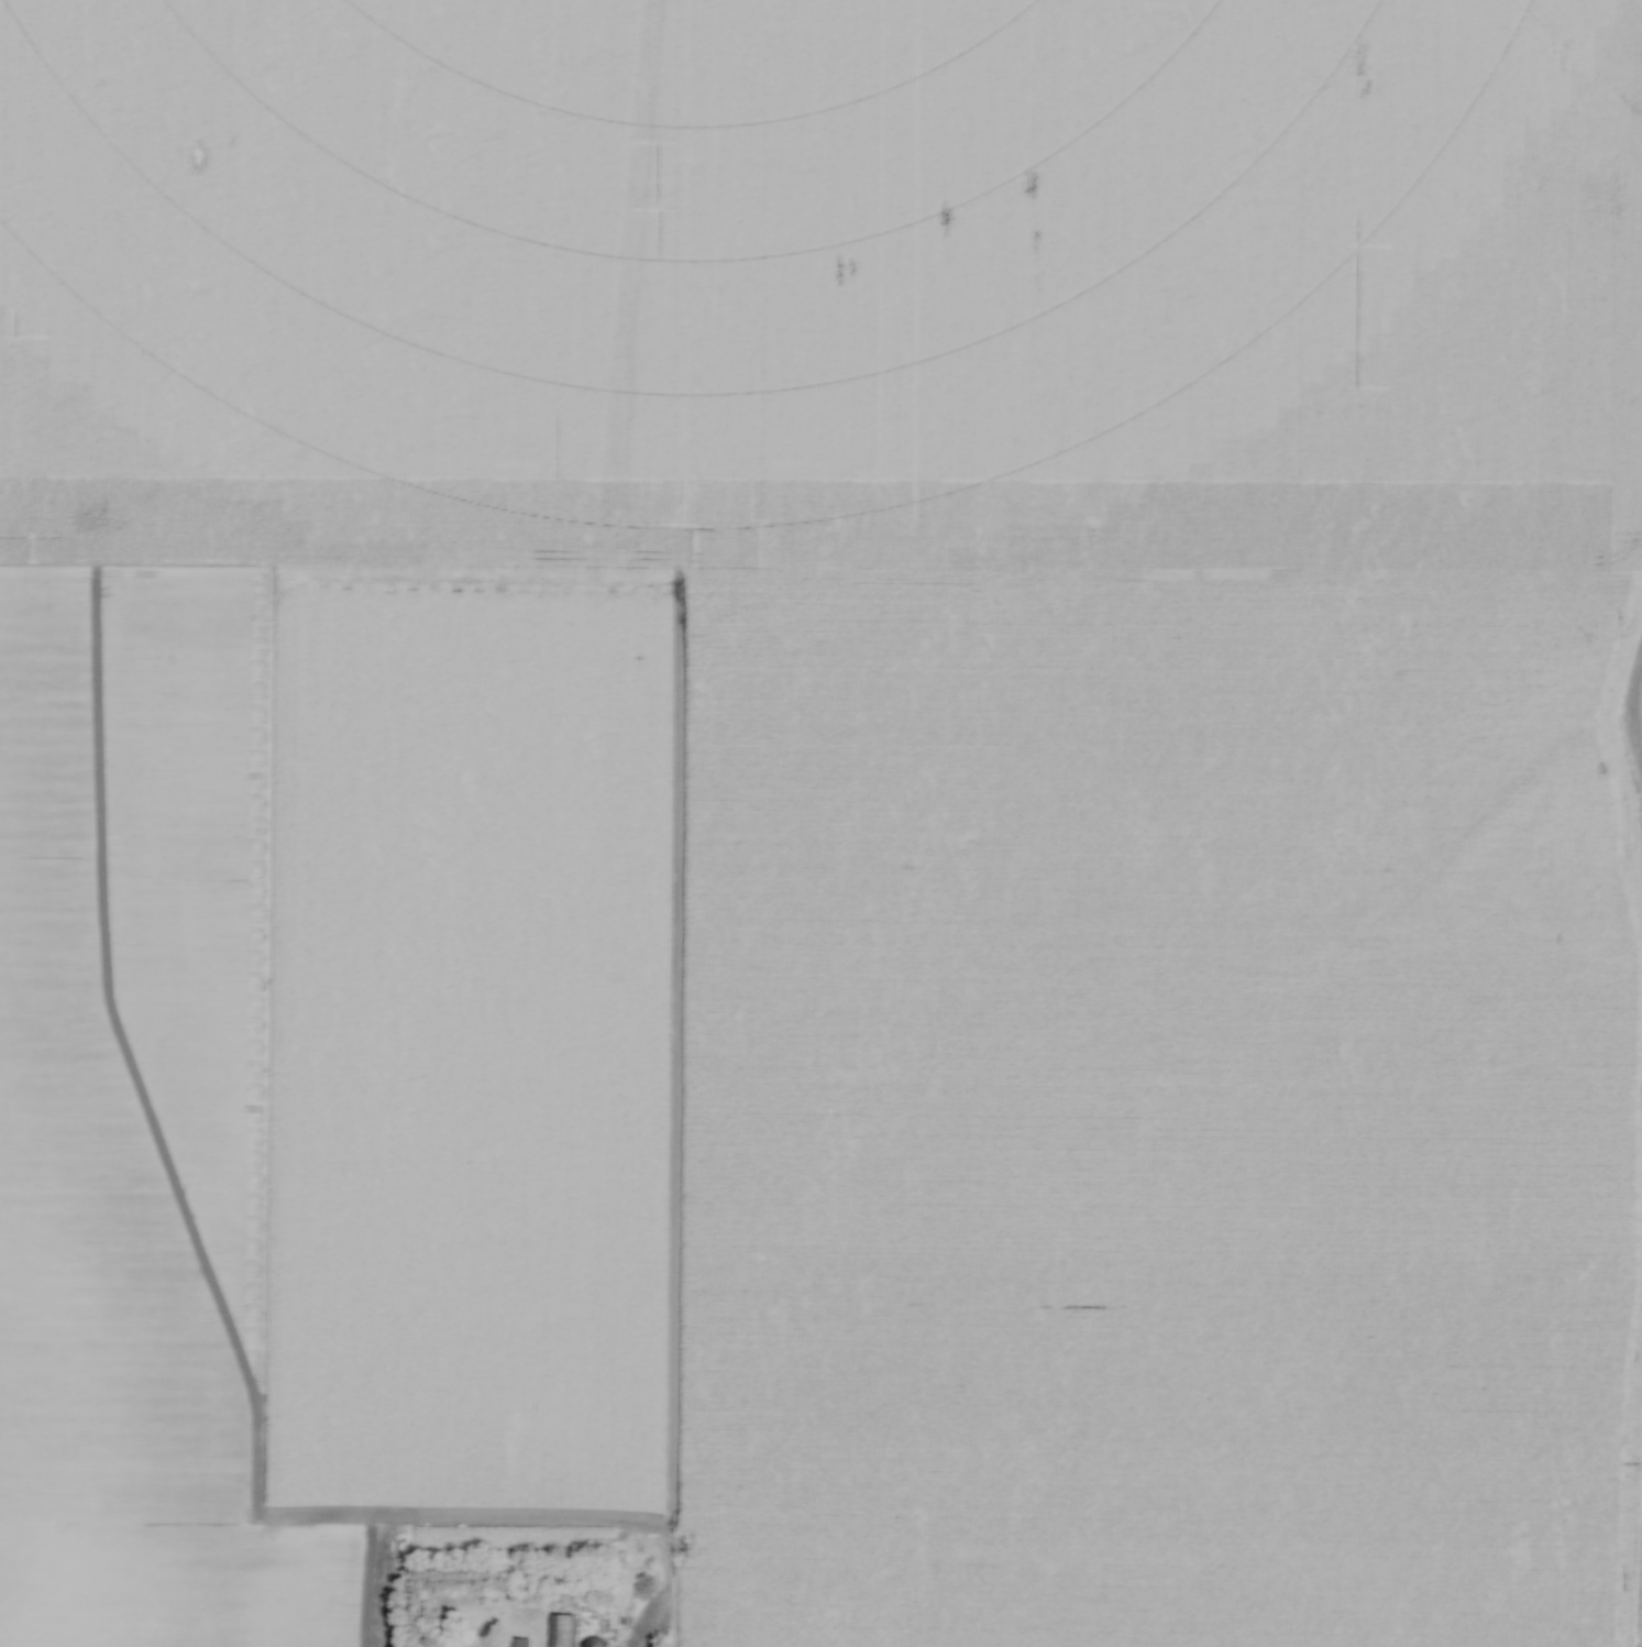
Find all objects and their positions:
building: (560, 1629)
building: (520, 1641)
building: (594, 1643)

